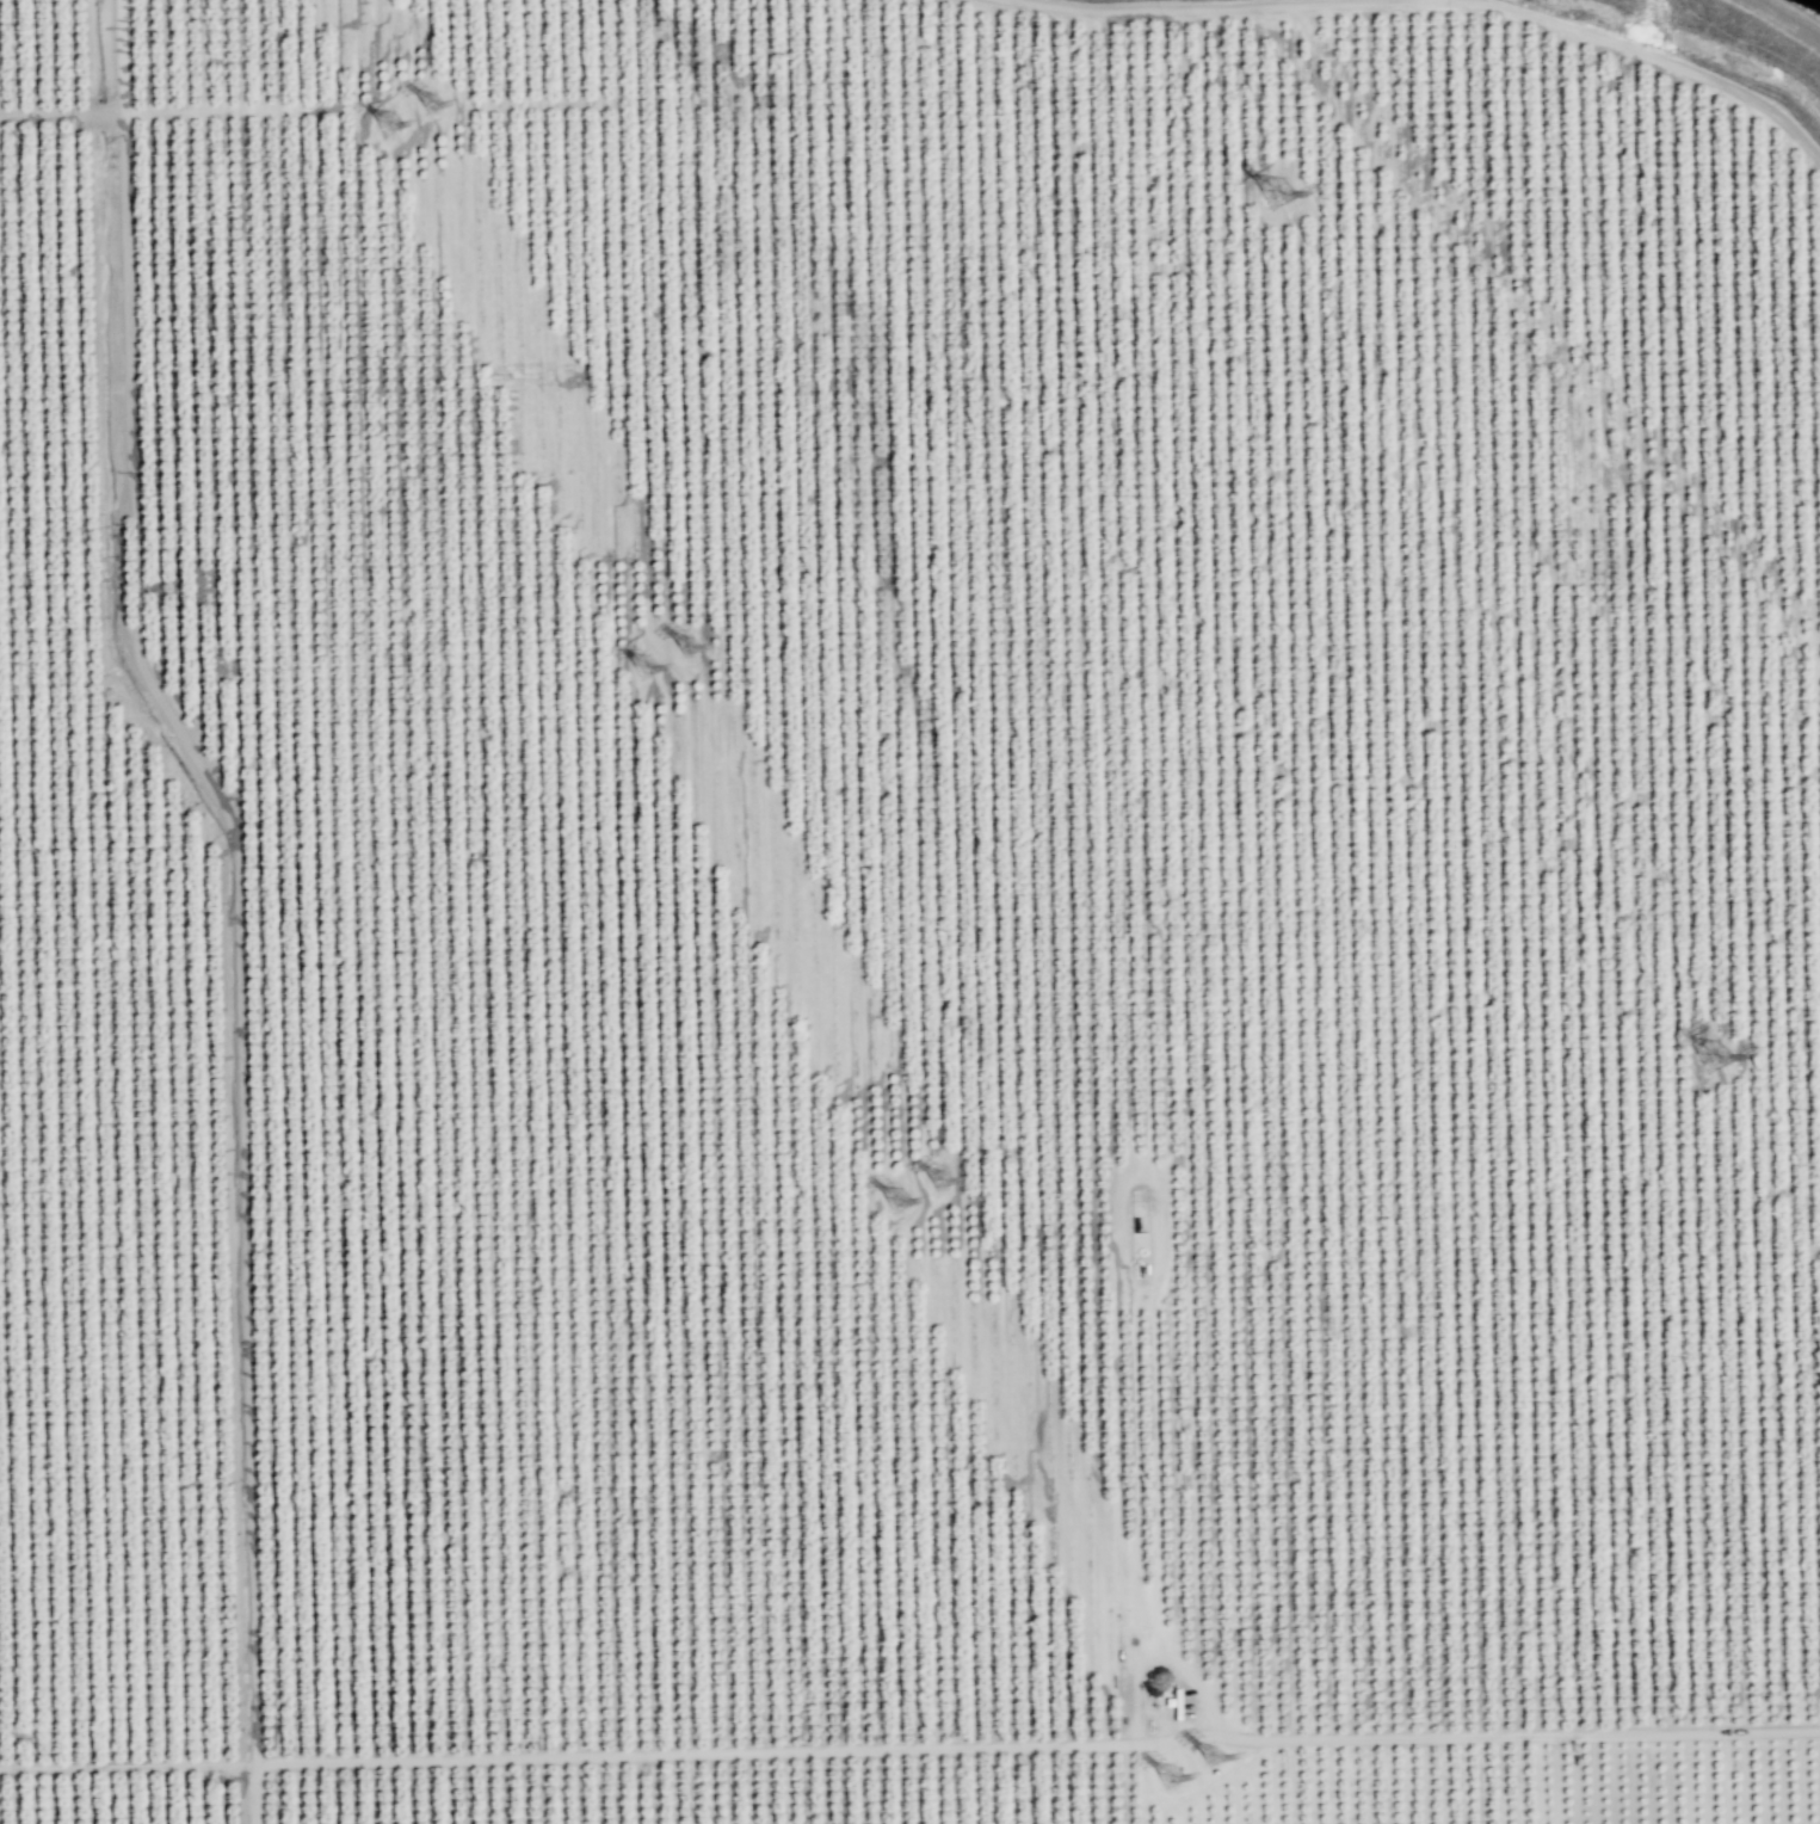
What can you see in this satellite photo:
power tower: (431, 104)
power tower: (388, 124)
power tower: (1277, 201)
power tower: (684, 649)
power tower: (644, 668)
road: (239, 865)
power tower: (1723, 1068)
road: (1154, 1181)
power tower: (937, 1184)
power tower: (896, 1201)
road: (1122, 1641)
road: (1288, 1739)
road: (615, 1756)
power tower: (1209, 1758)
power tower: (1167, 1779)

